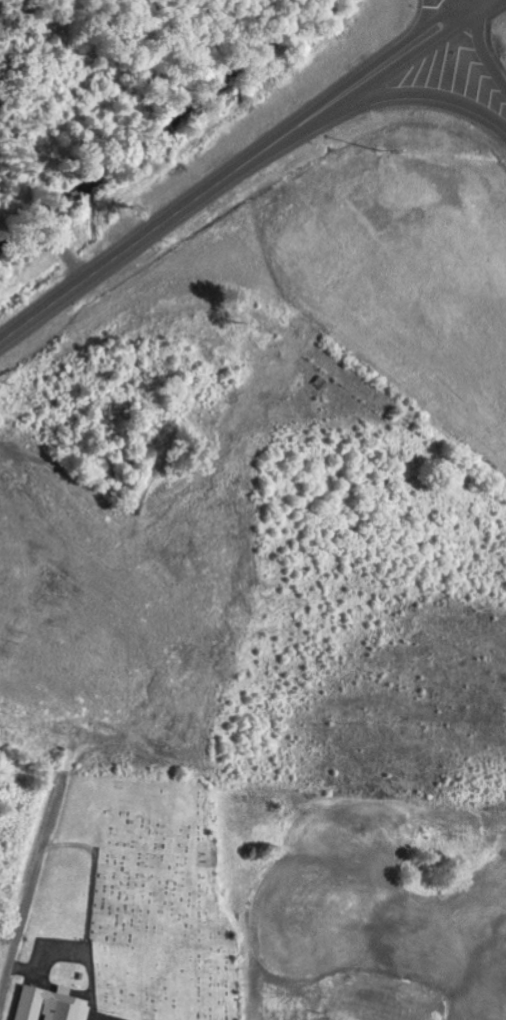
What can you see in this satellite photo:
road: (441, 12)
road: (476, 66)
road: (419, 92)
road: (241, 168)
road: (81, 712)
park: (153, 905)
park: (0, 944)
road: (6, 984)
building: (53, 1005)

